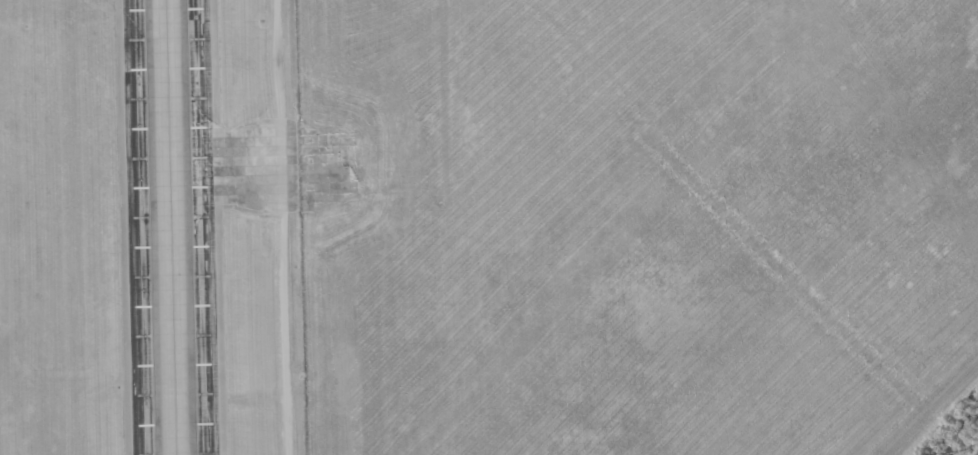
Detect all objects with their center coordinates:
airport taxiway: (170, 227)
airport: (489, 227)

